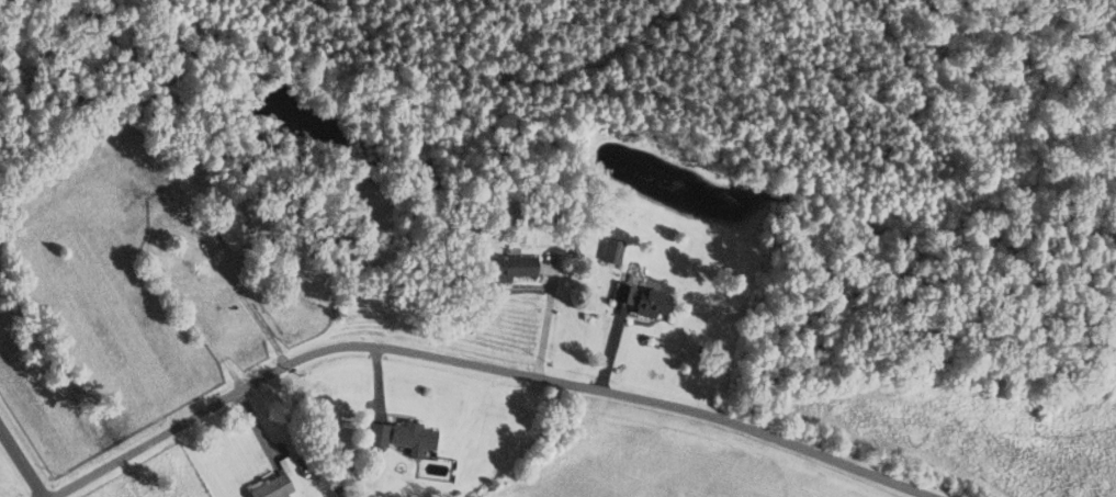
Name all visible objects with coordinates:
building: (170, 192)
building: (230, 228)
building: (612, 252)
building: (506, 269)
building: (644, 302)
road: (483, 363)
building: (404, 440)
road: (22, 461)
building: (273, 488)

